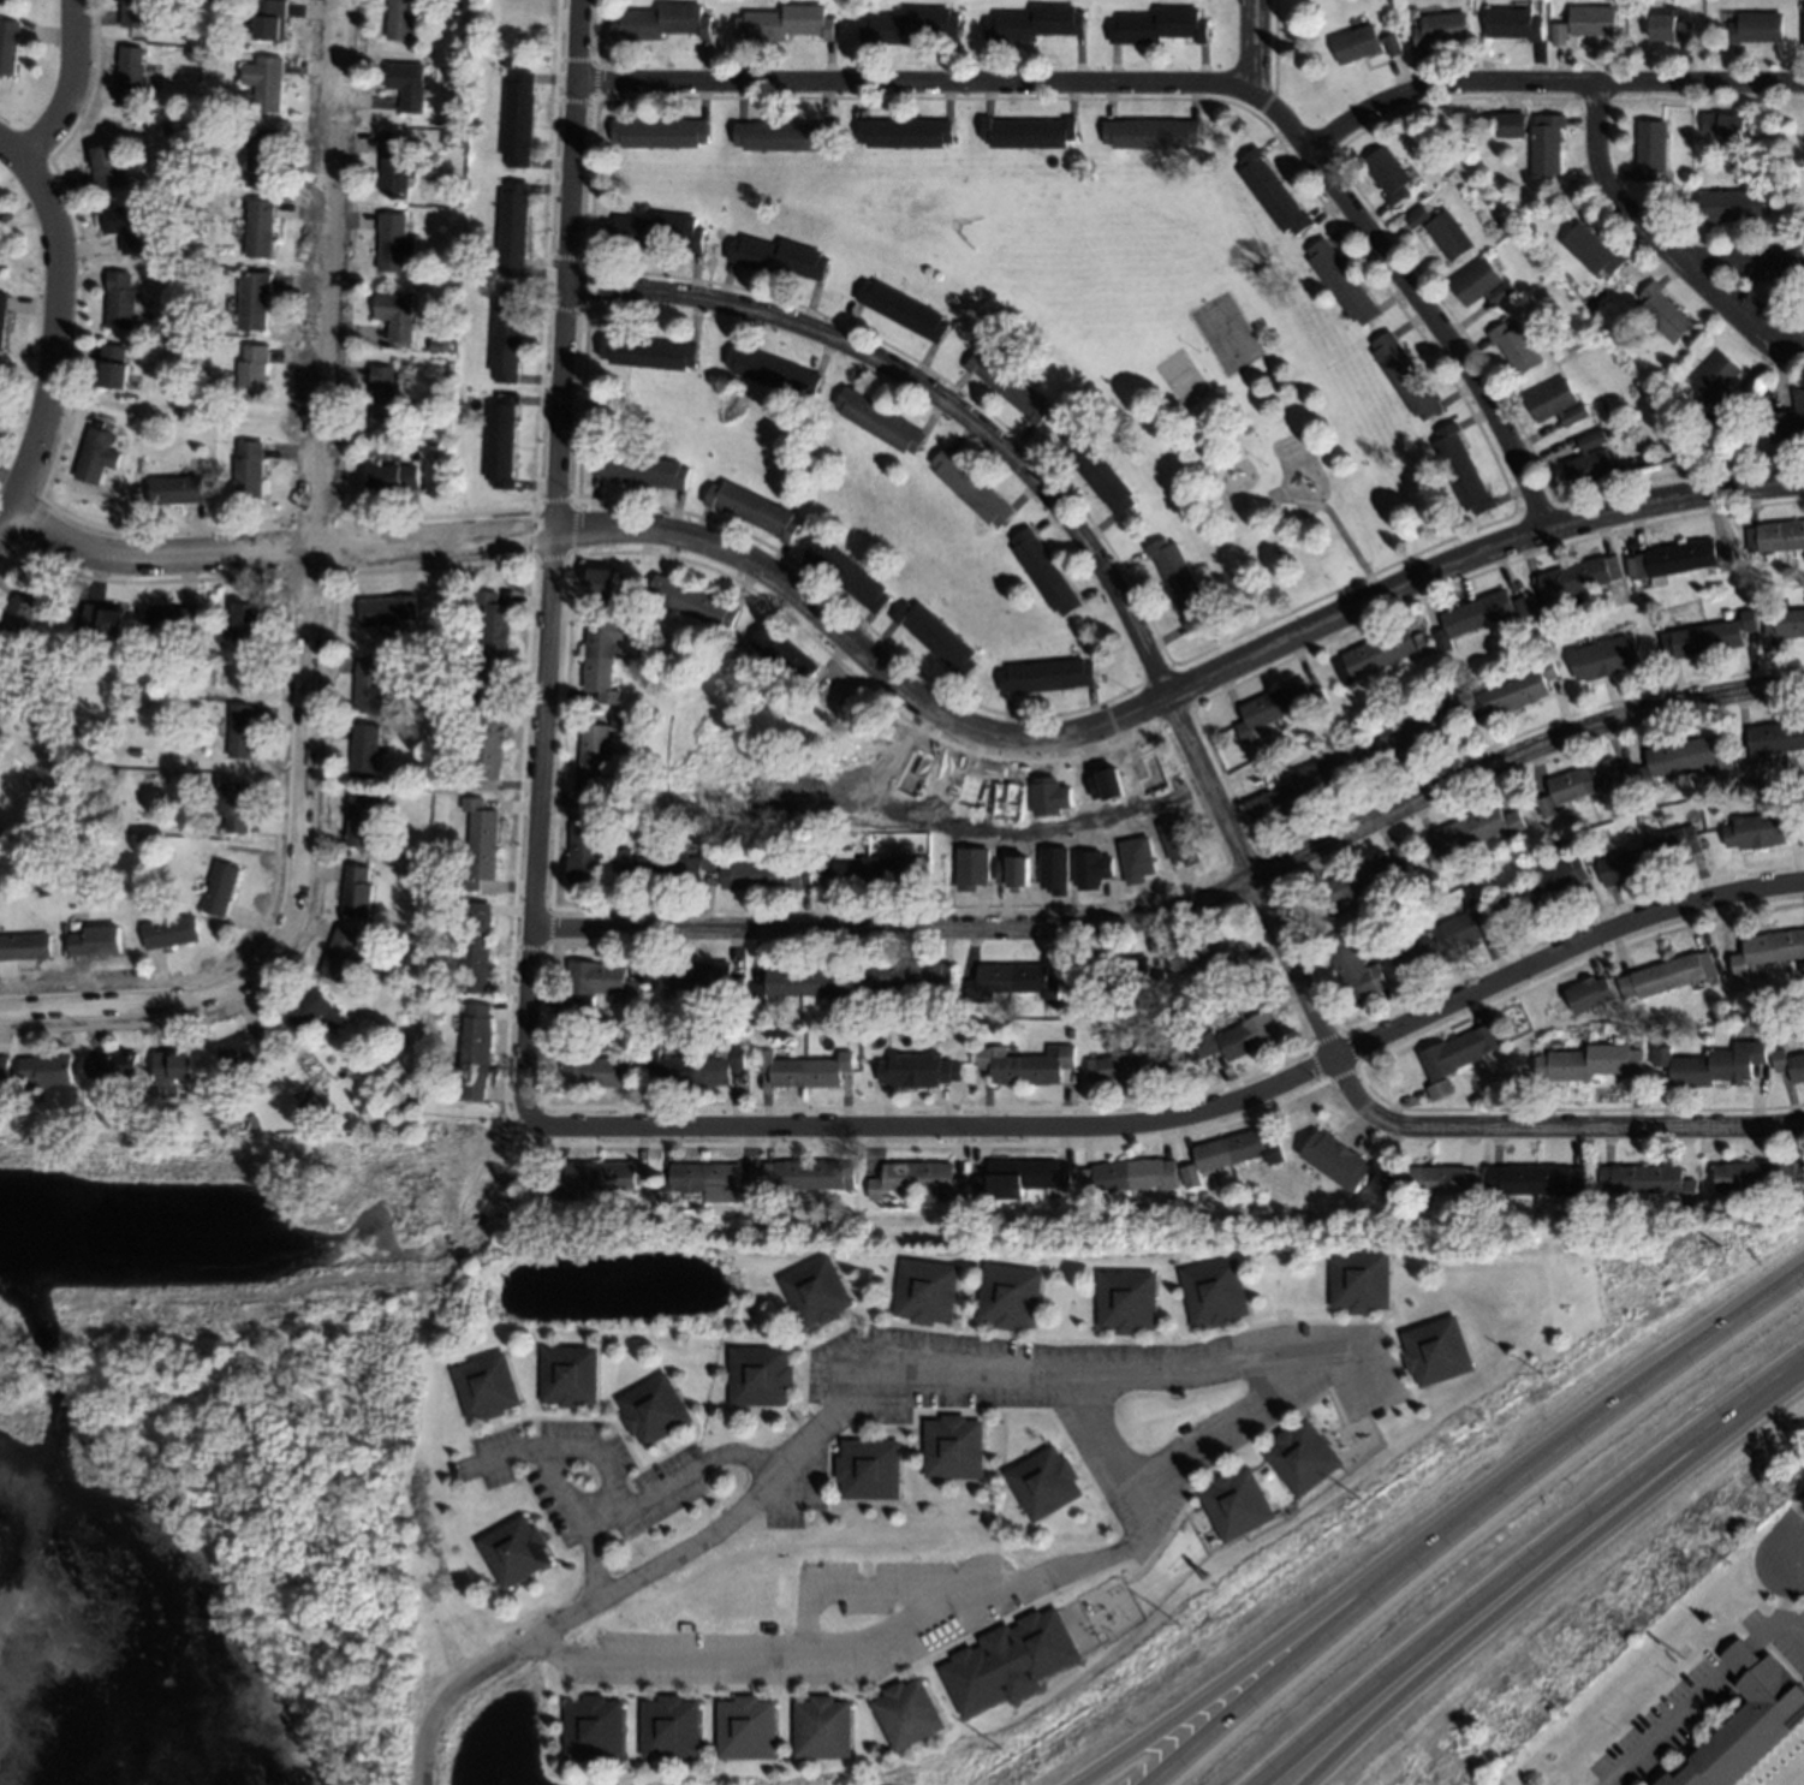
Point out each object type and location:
building: (136, 14)
building: (268, 18)
building: (403, 19)
building: (1803, 22)
building: (661, 23)
building: (786, 24)
building: (1036, 24)
building: (1513, 24)
building: (1586, 24)
building: (910, 26)
building: (1160, 26)
building: (1756, 29)
building: (1441, 30)
building: (1671, 30)
road: (1250, 44)
building: (1363, 44)
building: (7, 47)
building: (189, 53)
building: (129, 77)
road: (1546, 81)
road: (913, 82)
building: (266, 83)
building: (406, 85)
road: (70, 88)
building: (519, 120)
building: (1507, 121)
building: (167, 125)
building: (204, 126)
building: (1725, 127)
building: (660, 132)
building: (904, 133)
building: (1029, 133)
building: (1150, 133)
building: (782, 136)
building: (452, 141)
building: (1547, 145)
road: (11, 148)
building: (1650, 150)
building: (261, 157)
building: (395, 163)
building: (108, 167)
building: (1388, 175)
road: (1602, 188)
building: (1272, 194)
building: (1732, 206)
building: (451, 218)
building: (124, 227)
building: (260, 227)
building: (513, 230)
building: (654, 231)
building: (1442, 233)
building: (393, 243)
building: (1592, 251)
building: (779, 257)
building: (222, 270)
building: (0, 273)
road: (1697, 275)
building: (1341, 282)
building: (1481, 285)
road: (1413, 298)
building: (254, 301)
building: (120, 302)
building: (903, 310)
building: (1665, 314)
building: (2, 315)
building: (395, 315)
building: (171, 327)
road: (55, 333)
building: (507, 334)
building: (437, 346)
building: (1514, 347)
building: (649, 353)
park: (1124, 356)
building: (114, 367)
building: (774, 371)
building: (252, 374)
building: (1405, 376)
building: (1656, 381)
building: (1717, 382)
building: (1010, 386)
building: (168, 392)
building: (383, 395)
building: (1555, 404)
building: (1788, 418)
building: (880, 421)
building: (501, 441)
building: (434, 447)
building: (96, 457)
building: (1589, 462)
building: (249, 470)
building: (641, 470)
building: (1461, 471)
building: (1097, 472)
building: (392, 478)
building: (971, 489)
building: (175, 490)
building: (751, 510)
road: (4, 514)
road: (1077, 532)
building: (1776, 537)
road: (554, 560)
building: (1675, 560)
building: (1726, 560)
building: (1044, 572)
building: (847, 576)
building: (1578, 577)
building: (1179, 582)
building: (602, 583)
building: (693, 602)
building: (1520, 608)
building: (386, 611)
building: (1479, 613)
building: (19, 614)
building: (1543, 615)
building: (1748, 620)
building: (102, 621)
building: (171, 621)
road: (309, 623)
building: (1785, 624)
building: (245, 630)
building: (493, 636)
building: (1442, 637)
building: (935, 638)
building: (1702, 639)
building: (1423, 643)
building: (784, 654)
building: (600, 655)
building: (1374, 655)
building: (1604, 660)
building: (1547, 670)
building: (130, 672)
building: (1046, 676)
building: (143, 683)
building: (368, 685)
road: (903, 689)
building: (0, 692)
building: (1511, 695)
building: (470, 700)
building: (1466, 701)
building: (1445, 702)
building: (1279, 706)
building: (620, 722)
building: (240, 731)
building: (1407, 737)
building: (1776, 738)
building: (487, 749)
building: (1359, 750)
building: (364, 751)
building: (135, 754)
building: (1334, 756)
building: (1685, 760)
building: (66, 768)
building: (593, 768)
building: (1584, 785)
building: (1106, 786)
building: (1297, 790)
building: (1049, 797)
building: (234, 807)
building: (361, 819)
building: (1775, 829)
building: (1471, 833)
building: (1742, 835)
building: (1175, 843)
building: (480, 845)
building: (584, 851)
building: (1649, 856)
building: (1136, 861)
building: (665, 868)
building: (877, 869)
building: (972, 869)
building: (1054, 870)
building: (1091, 870)
building: (1013, 873)
building: (766, 876)
building: (1362, 885)
building: (219, 889)
building: (1540, 889)
building: (356, 893)
road: (1187, 906)
building: (169, 933)
building: (95, 941)
building: (1439, 945)
building: (24, 947)
building: (476, 947)
building: (1769, 951)
building: (1207, 952)
building: (343, 957)
building: (1232, 970)
building: (1355, 971)
building: (906, 975)
building: (1115, 975)
building: (1667, 976)
building: (696, 977)
building: (1010, 982)
building: (599, 983)
building: (800, 984)
building: (1590, 996)
building: (411, 1006)
building: (316, 1010)
building: (1070, 1033)
building: (1242, 1033)
building: (244, 1051)
building: (476, 1052)
building: (1460, 1052)
building: (1590, 1063)
building: (111, 1065)
building: (1025, 1065)
building: (1711, 1065)
building: (1790, 1065)
building: (172, 1067)
building: (1133, 1067)
building: (695, 1069)
building: (2, 1070)
building: (593, 1070)
building: (804, 1070)
building: (46, 1071)
building: (918, 1071)
building: (1439, 1089)
road: (1189, 1114)
building: (250, 1126)
road: (1553, 1129)
building: (1234, 1149)
building: (1336, 1161)
building: (1190, 1174)
building: (810, 1176)
building: (1127, 1176)
building: (1758, 1177)
building: (1018, 1178)
building: (593, 1179)
building: (919, 1180)
building: (1435, 1180)
building: (1537, 1180)
building: (1649, 1182)
building: (708, 1184)
building: (1389, 1192)
power tower: (1717, 1249)
building: (1364, 1280)
building: (927, 1290)
building: (817, 1291)
building: (1215, 1292)
building: (1011, 1295)
building: (1129, 1299)
building: (1440, 1351)
road: (1671, 1361)
building: (570, 1374)
building: (761, 1374)
power tower: (1537, 1374)
building: (487, 1385)
building: (654, 1410)
road: (571, 1445)
building: (953, 1447)
road: (1114, 1454)
building: (1305, 1458)
building: (869, 1468)
road: (1175, 1475)
building: (1044, 1482)
road: (570, 1497)
power tower: (1359, 1499)
road: (656, 1503)
building: (1239, 1504)
road: (1796, 1534)
building: (514, 1551)
road: (1526, 1565)
road: (888, 1587)
road: (1788, 1587)
road: (1347, 1618)
road: (585, 1620)
power tower: (1179, 1623)
road: (1776, 1623)
road: (1316, 1624)
road: (1740, 1658)
building: (1008, 1661)
road: (1389, 1703)
building: (907, 1713)
building: (1746, 1722)
building: (671, 1726)
road: (1668, 1726)
building: (595, 1727)
building: (746, 1727)
building: (823, 1727)
power tower: (1000, 1749)

